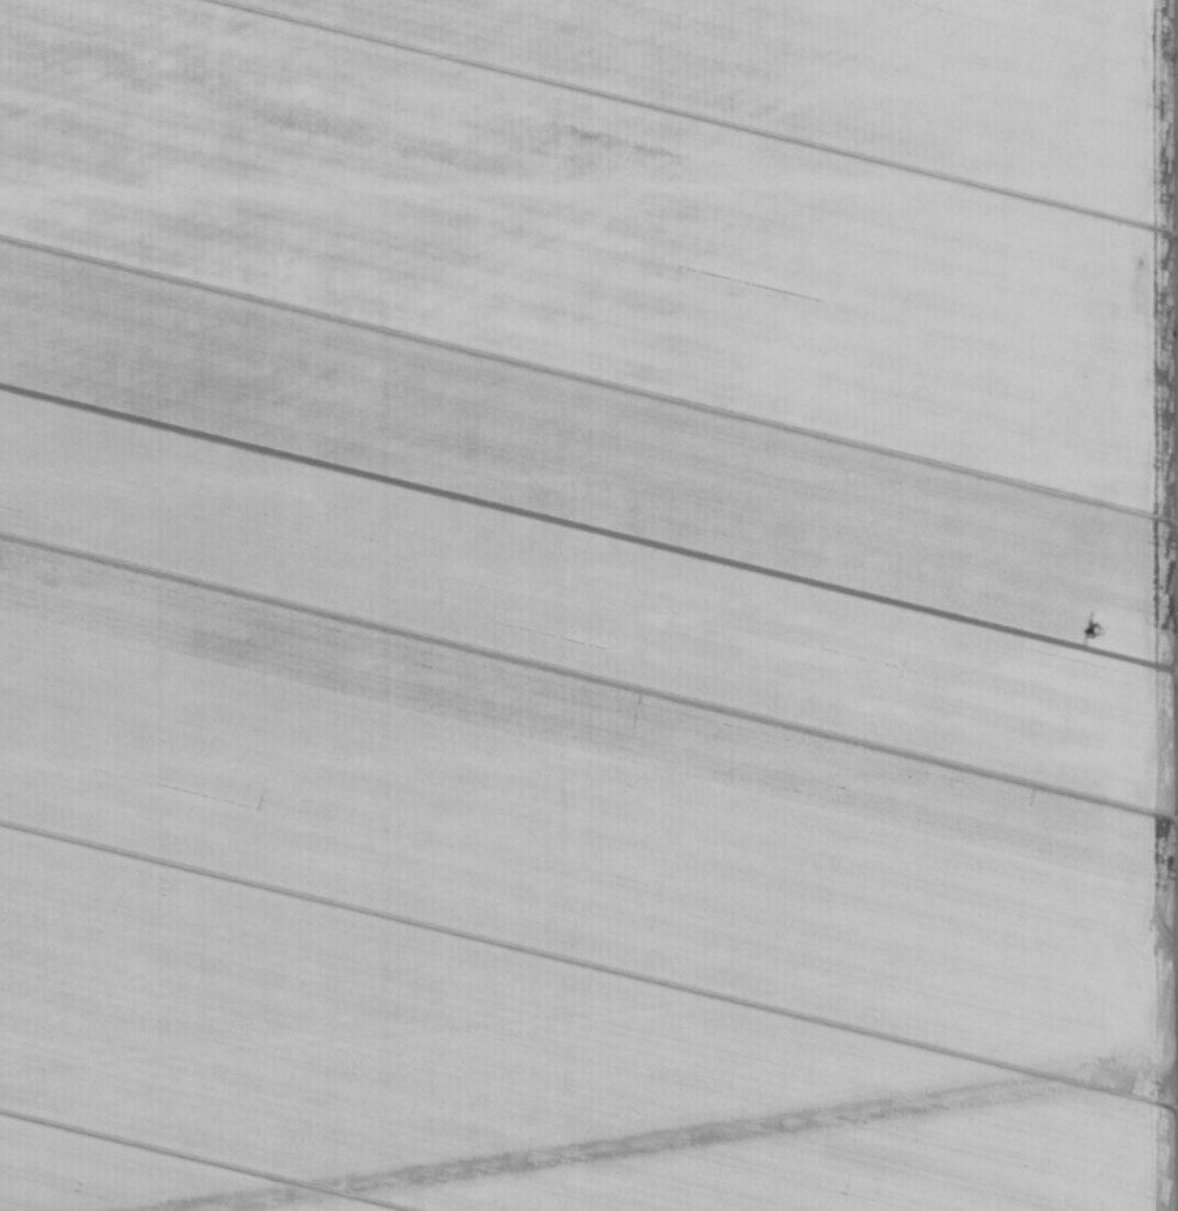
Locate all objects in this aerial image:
crop: (589, 605)

